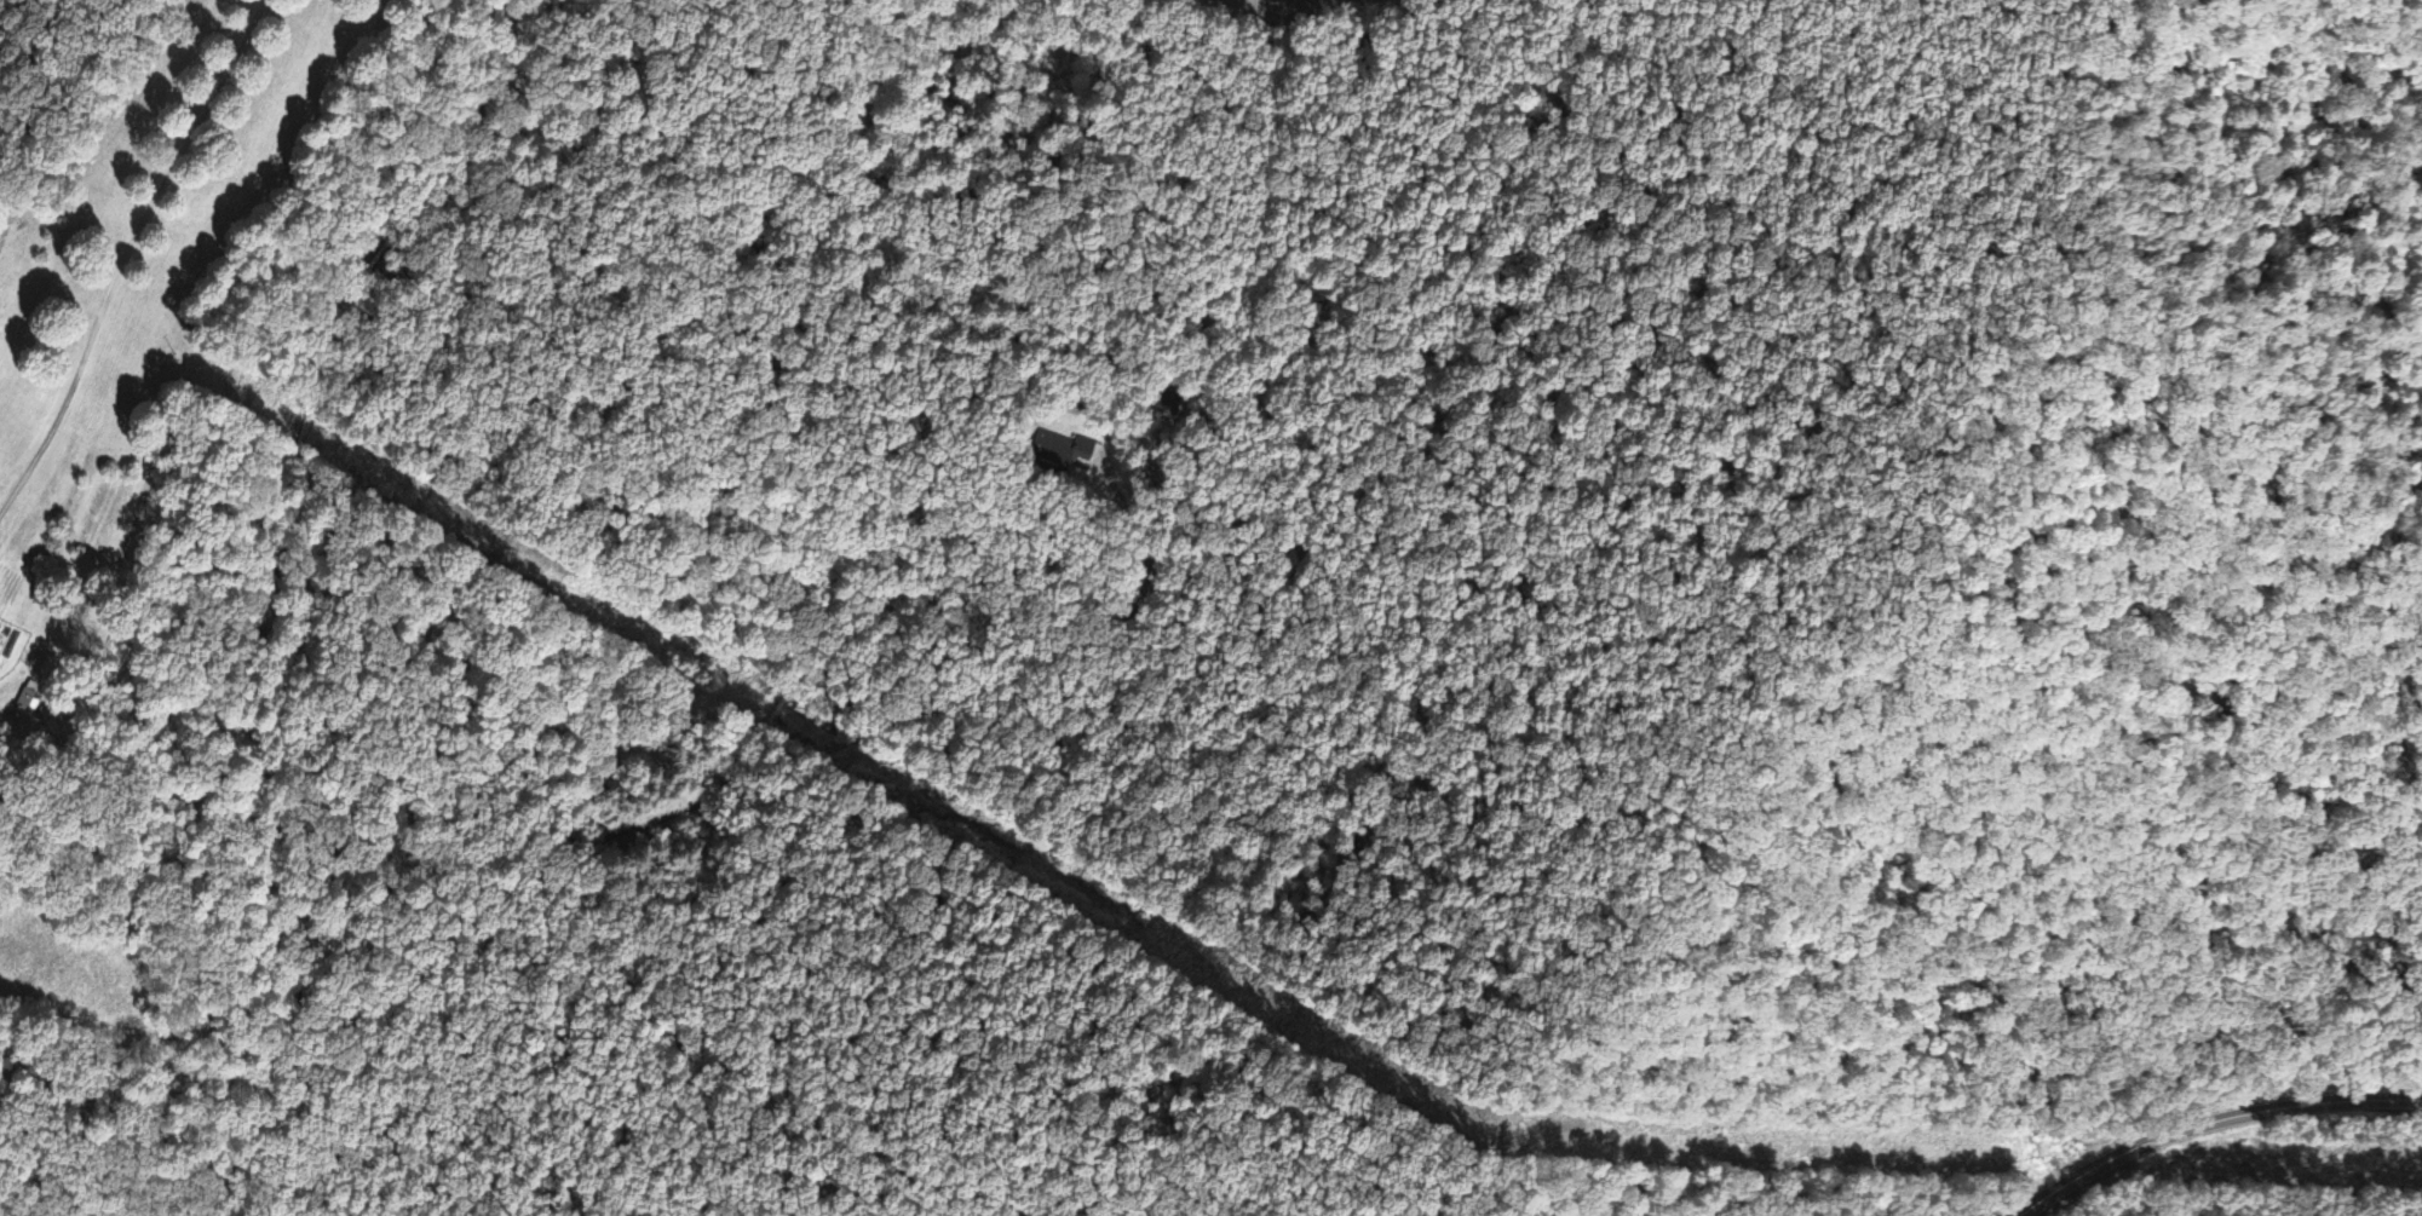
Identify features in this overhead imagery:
park: (44, 41)
road: (248, 583)
road: (723, 772)
road: (2213, 1124)

